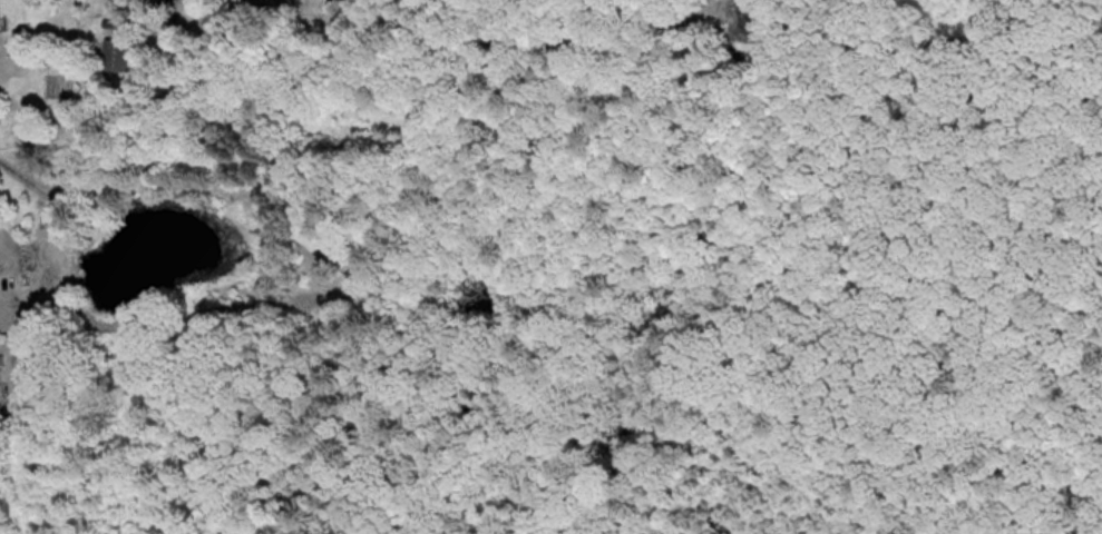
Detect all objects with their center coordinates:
park: (994, 238)

